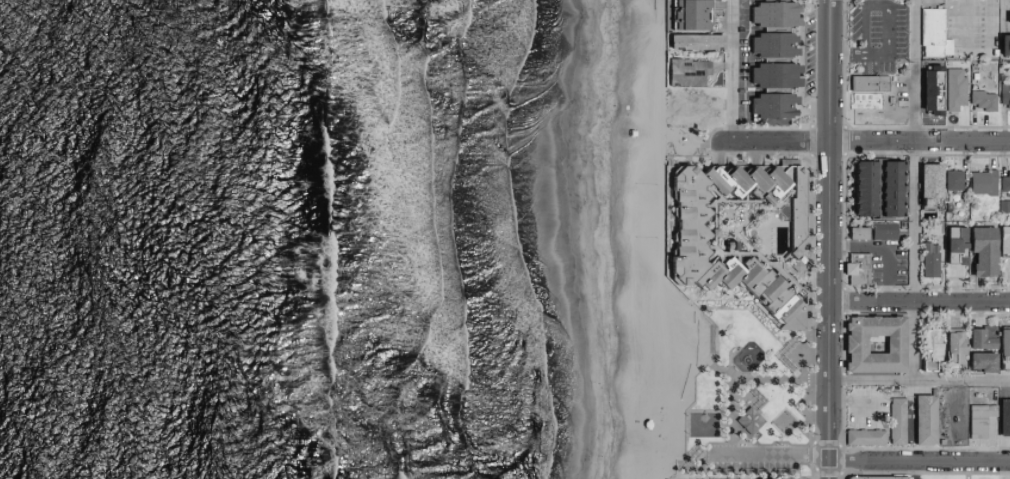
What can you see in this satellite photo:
road: (887, 8)
building: (769, 13)
building: (686, 14)
building: (1006, 17)
road: (964, 27)
road: (987, 27)
building: (930, 34)
parking lot: (878, 36)
building: (690, 40)
building: (768, 44)
building: (1002, 44)
road: (844, 58)
building: (684, 71)
road: (729, 71)
road: (912, 71)
building: (770, 74)
building: (865, 83)
building: (951, 88)
building: (1003, 95)
building: (930, 97)
building: (979, 99)
building: (768, 104)
road: (863, 142)
building: (748, 176)
building: (769, 177)
building: (718, 179)
building: (950, 179)
building: (925, 180)
building: (1003, 181)
building: (979, 182)
building: (858, 187)
building: (886, 187)
building: (789, 201)
road: (913, 222)
building: (880, 231)
building: (854, 232)
road: (827, 239)
building: (1002, 240)
building: (697, 241)
building: (951, 242)
building: (978, 250)
building: (926, 259)
building: (853, 268)
building: (763, 288)
road: (918, 302)
building: (977, 337)
building: (1001, 341)
building: (870, 343)
building: (925, 343)
building: (1009, 343)
building: (950, 345)
building: (977, 362)
road: (722, 371)
road: (743, 378)
road: (919, 378)
park: (749, 398)
building: (1002, 417)
building: (920, 419)
building: (976, 419)
building: (893, 420)
building: (749, 422)
park: (702, 425)
building: (861, 436)
road: (861, 459)
parking lot: (758, 461)
road: (698, 469)
building: (869, 477)
building: (773, 478)

